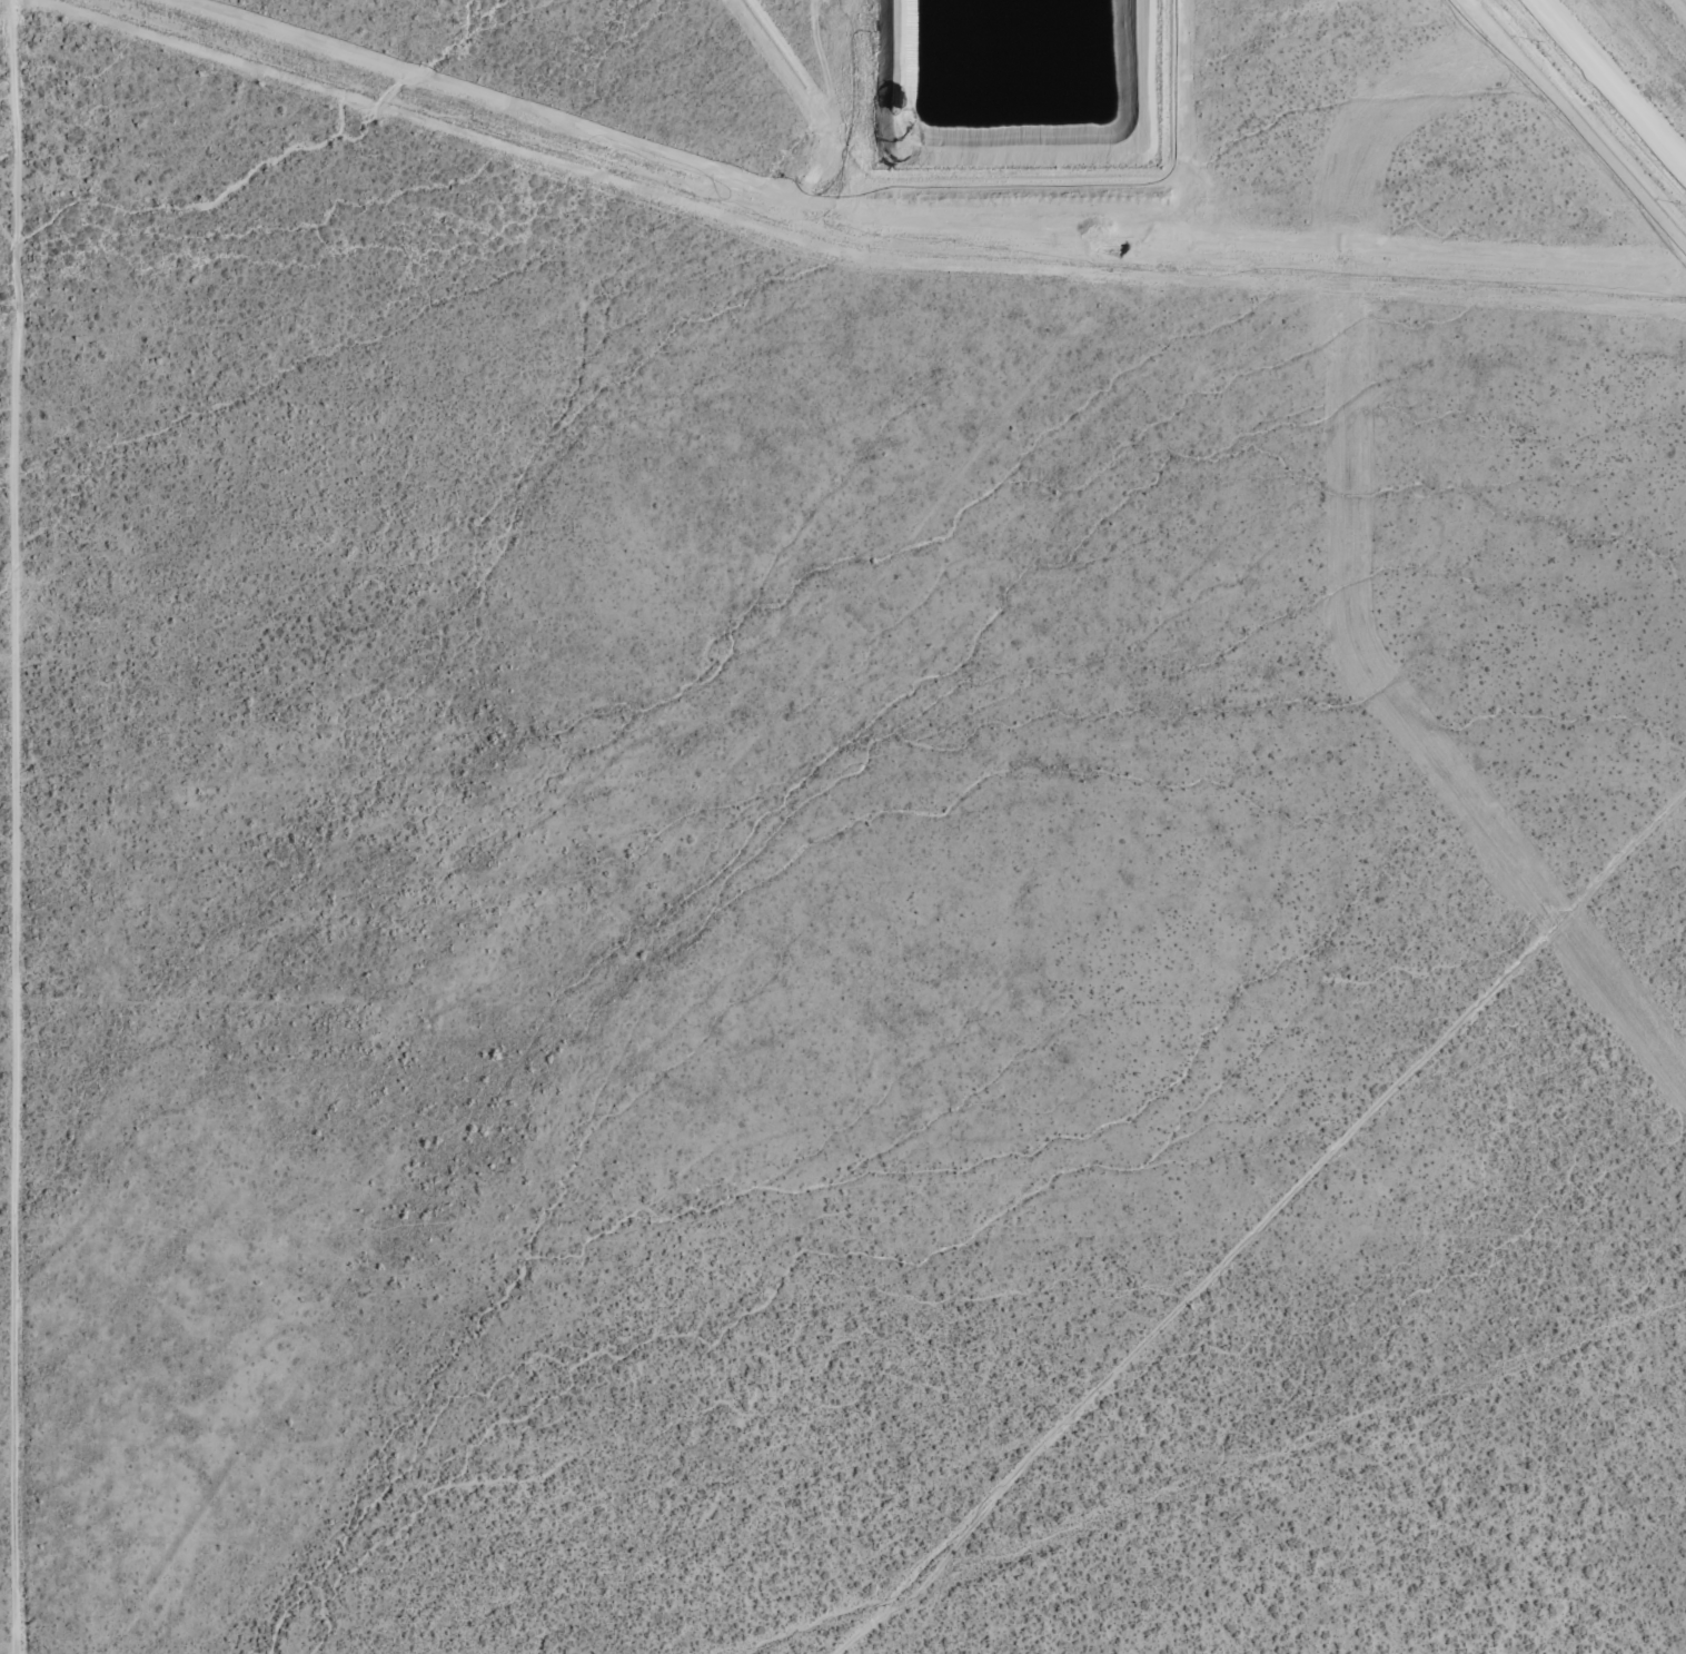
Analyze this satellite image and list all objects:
road: (1615, 81)

